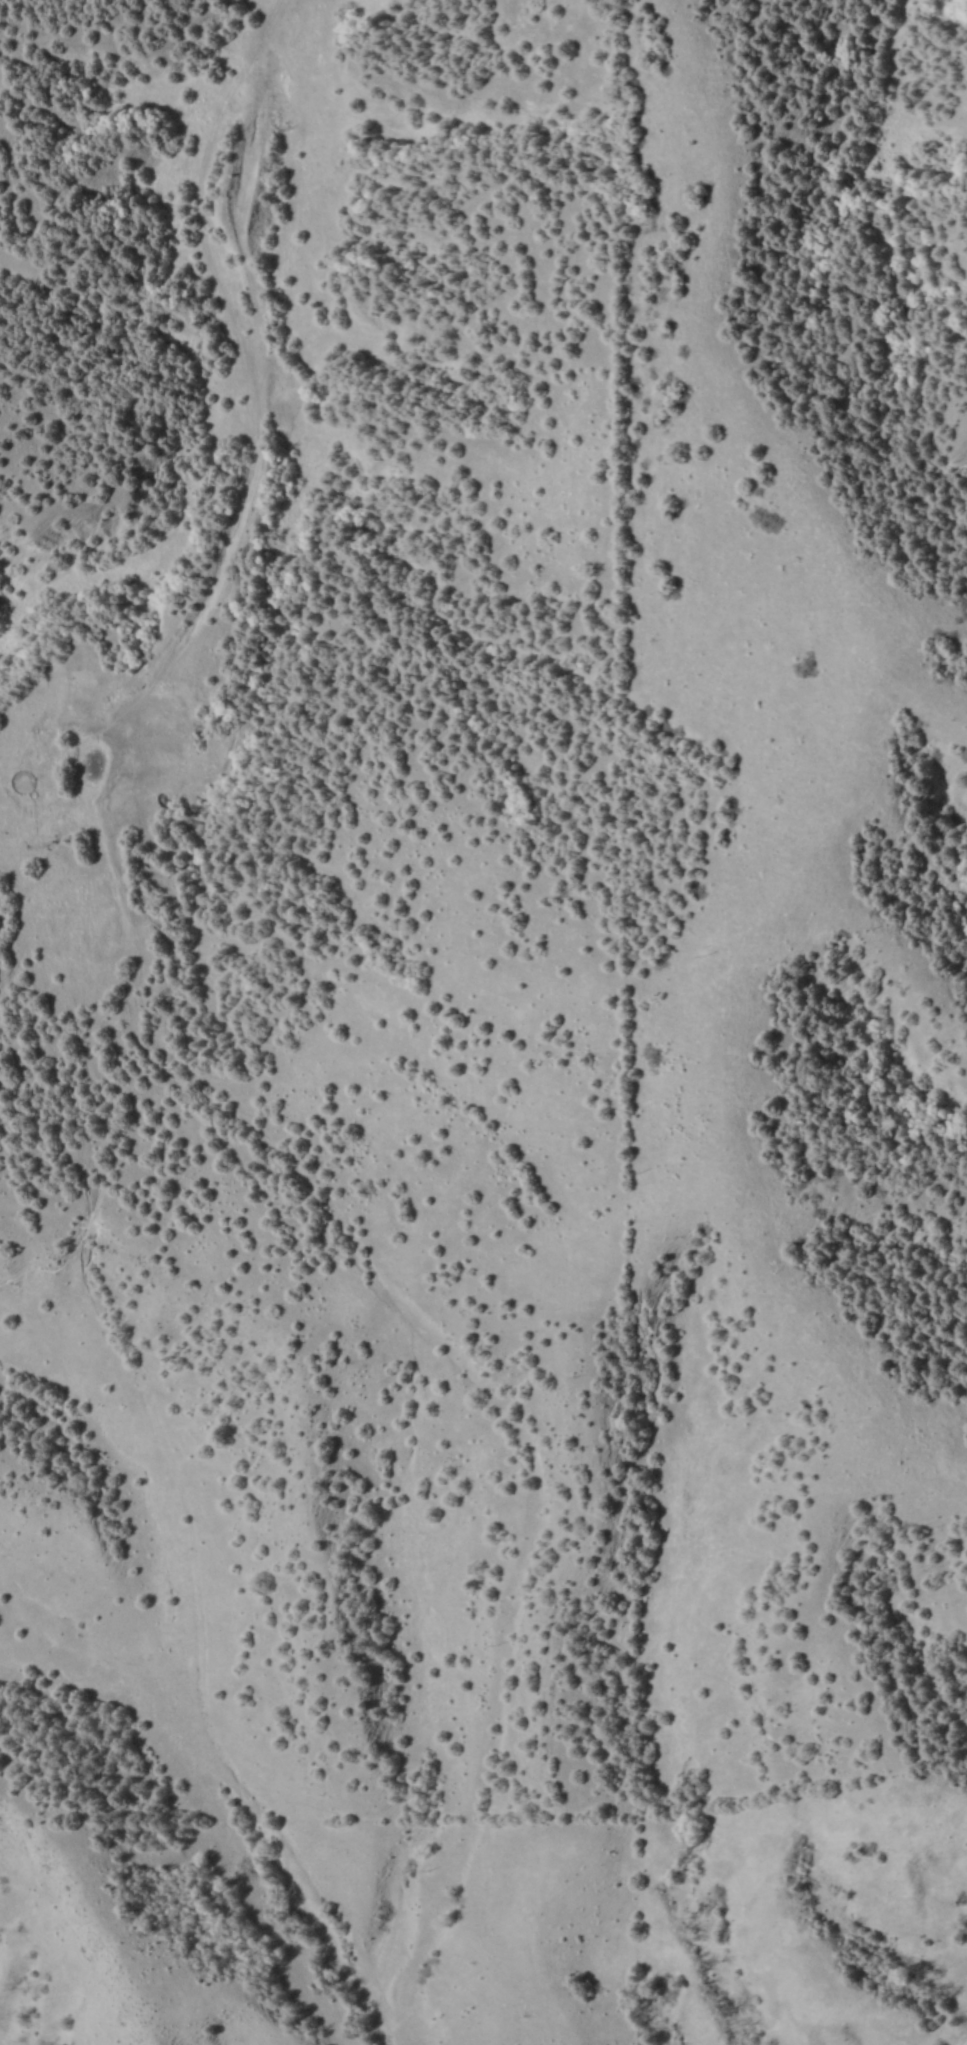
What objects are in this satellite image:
road: (962, 2041)

